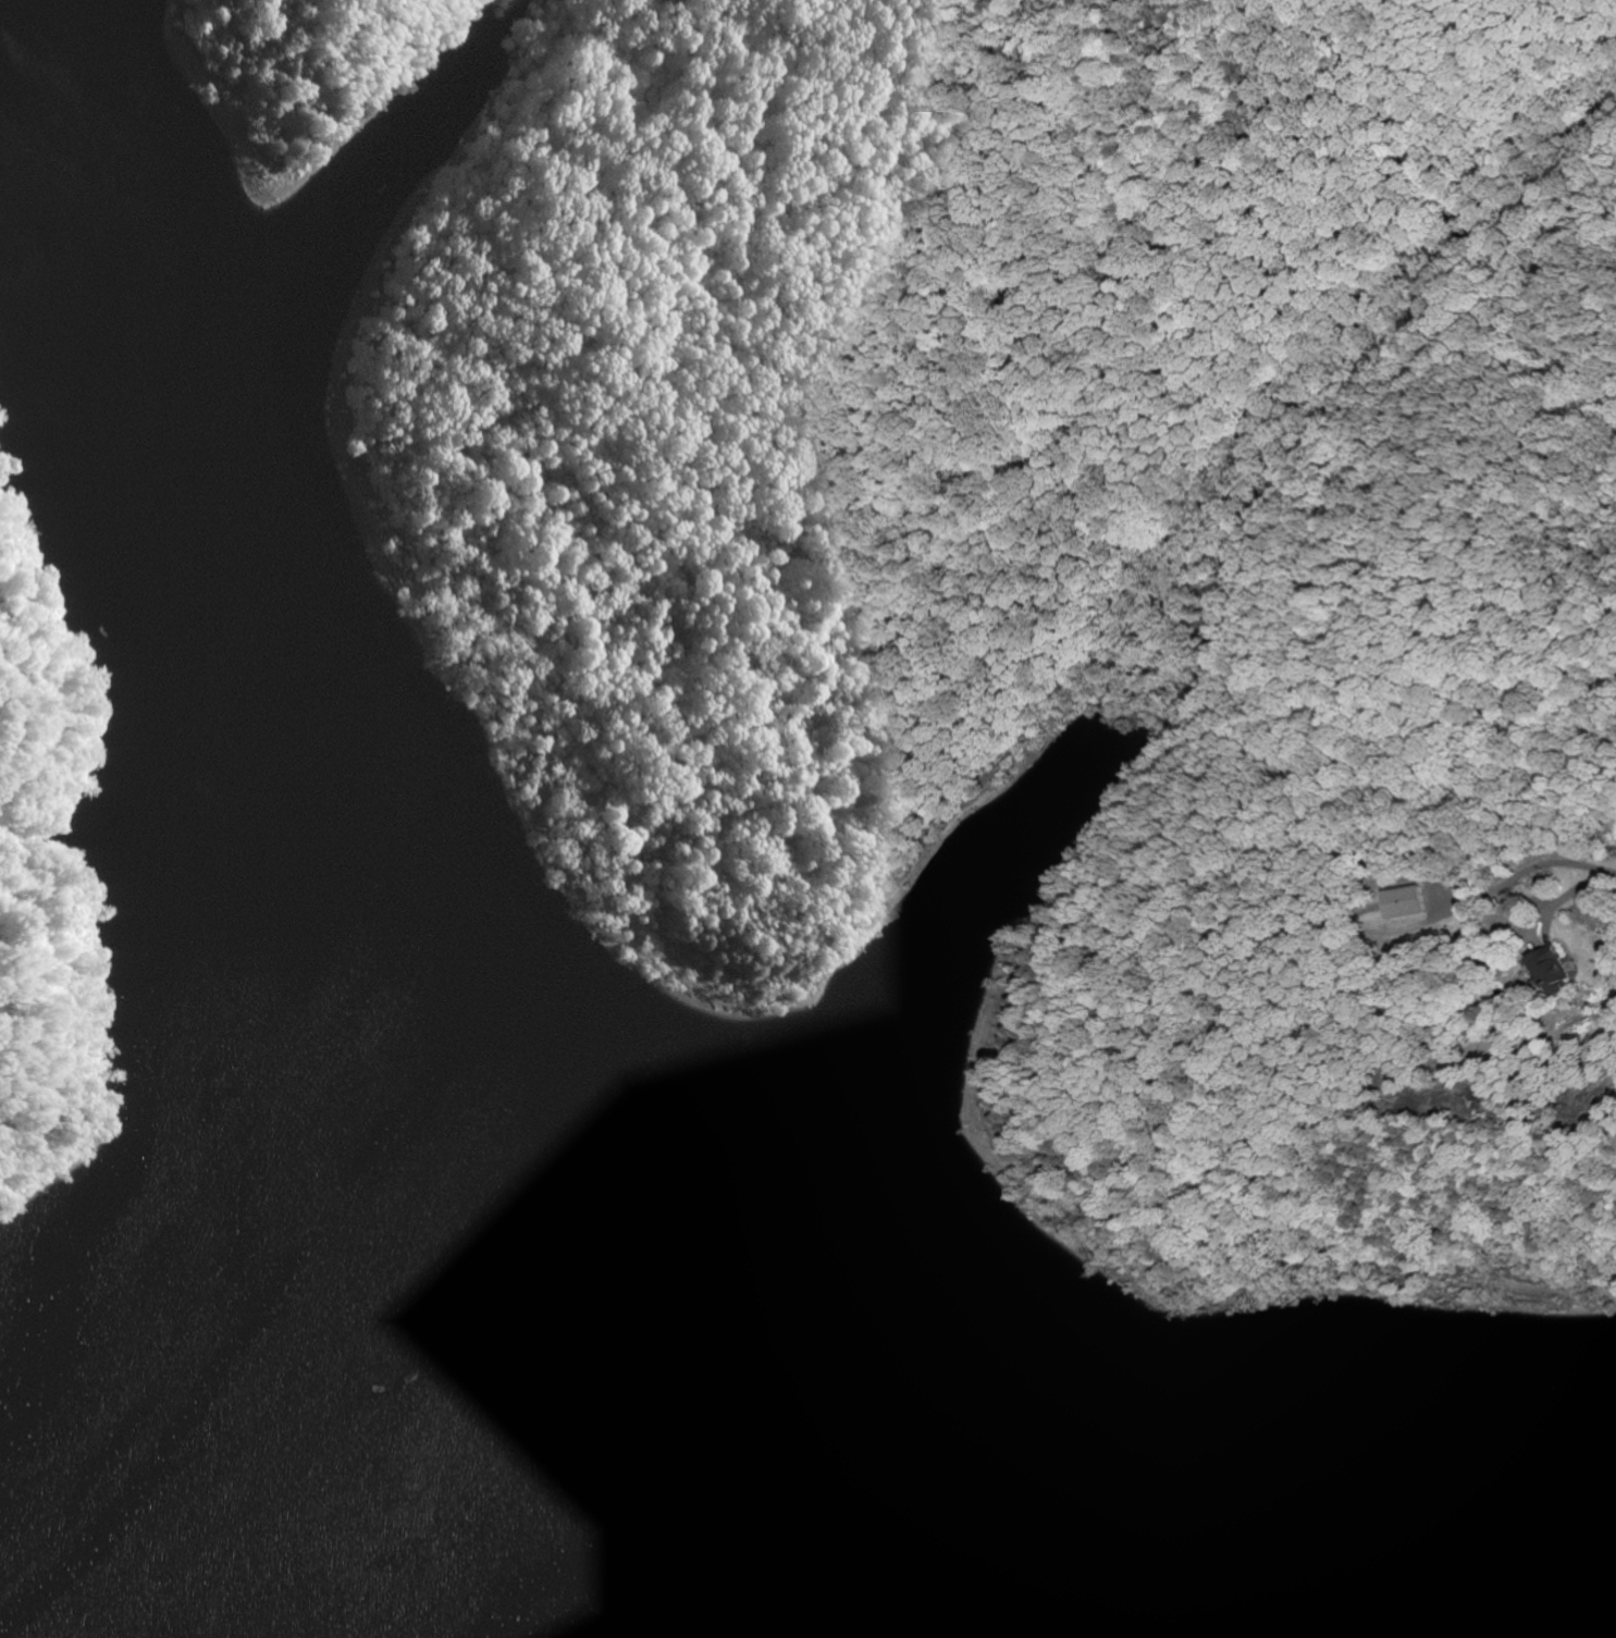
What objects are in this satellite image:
road: (1569, 894)
building: (1413, 902)
building: (1557, 972)

